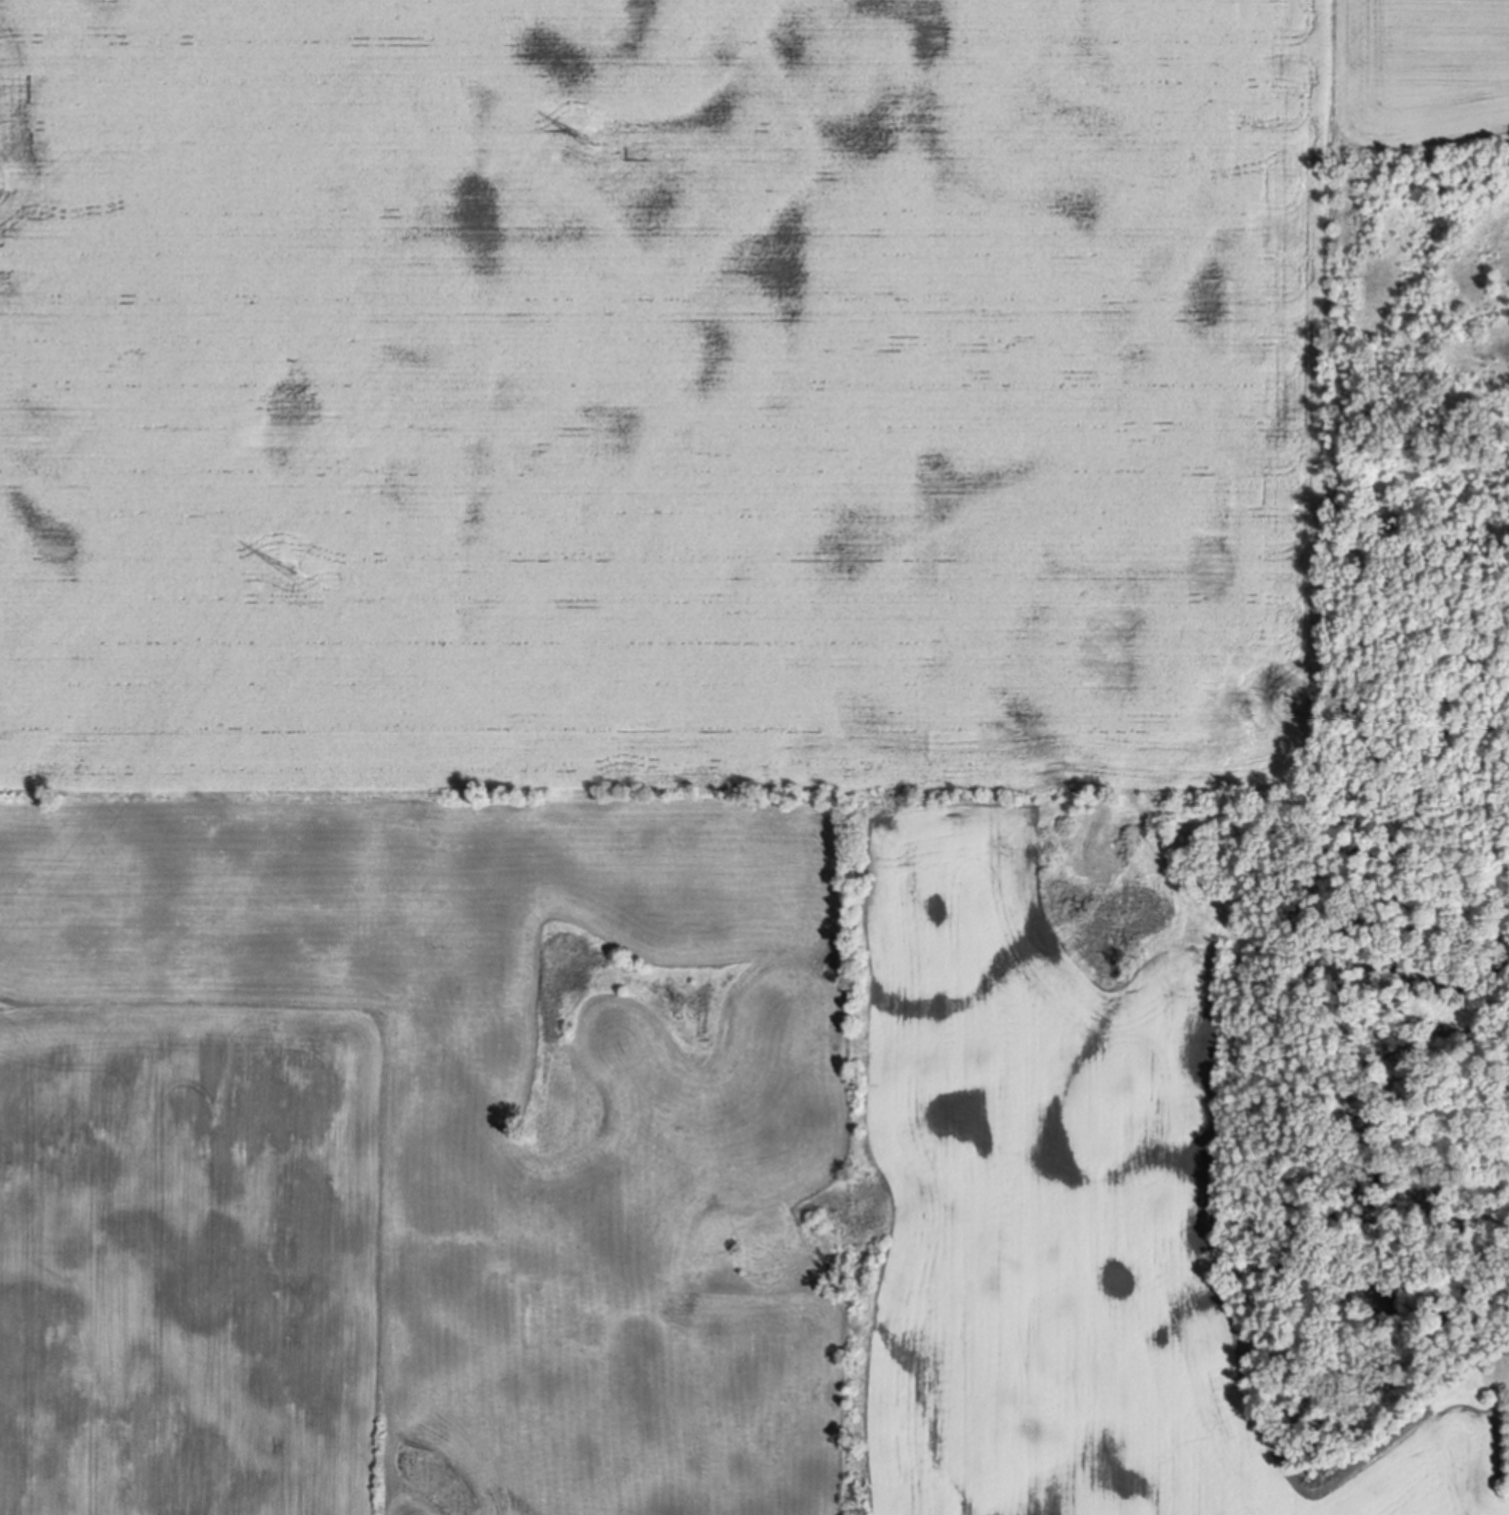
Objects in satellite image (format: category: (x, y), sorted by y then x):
power tower: (586, 135)
quarry: (1413, 440)
power tower: (288, 569)

